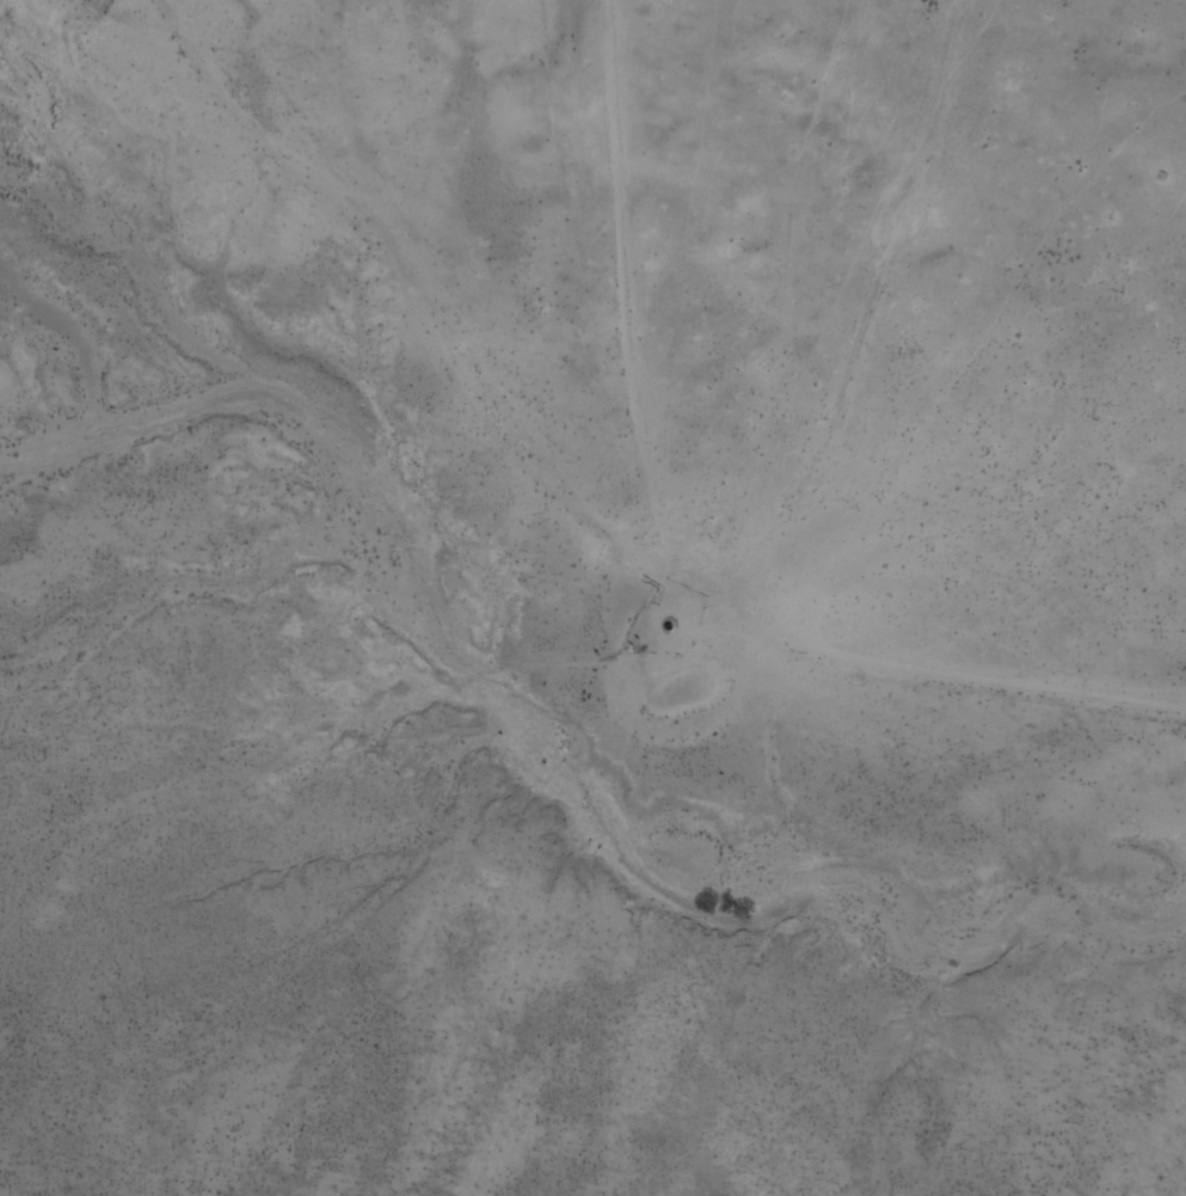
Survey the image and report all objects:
road: (872, 331)
road: (499, 539)

